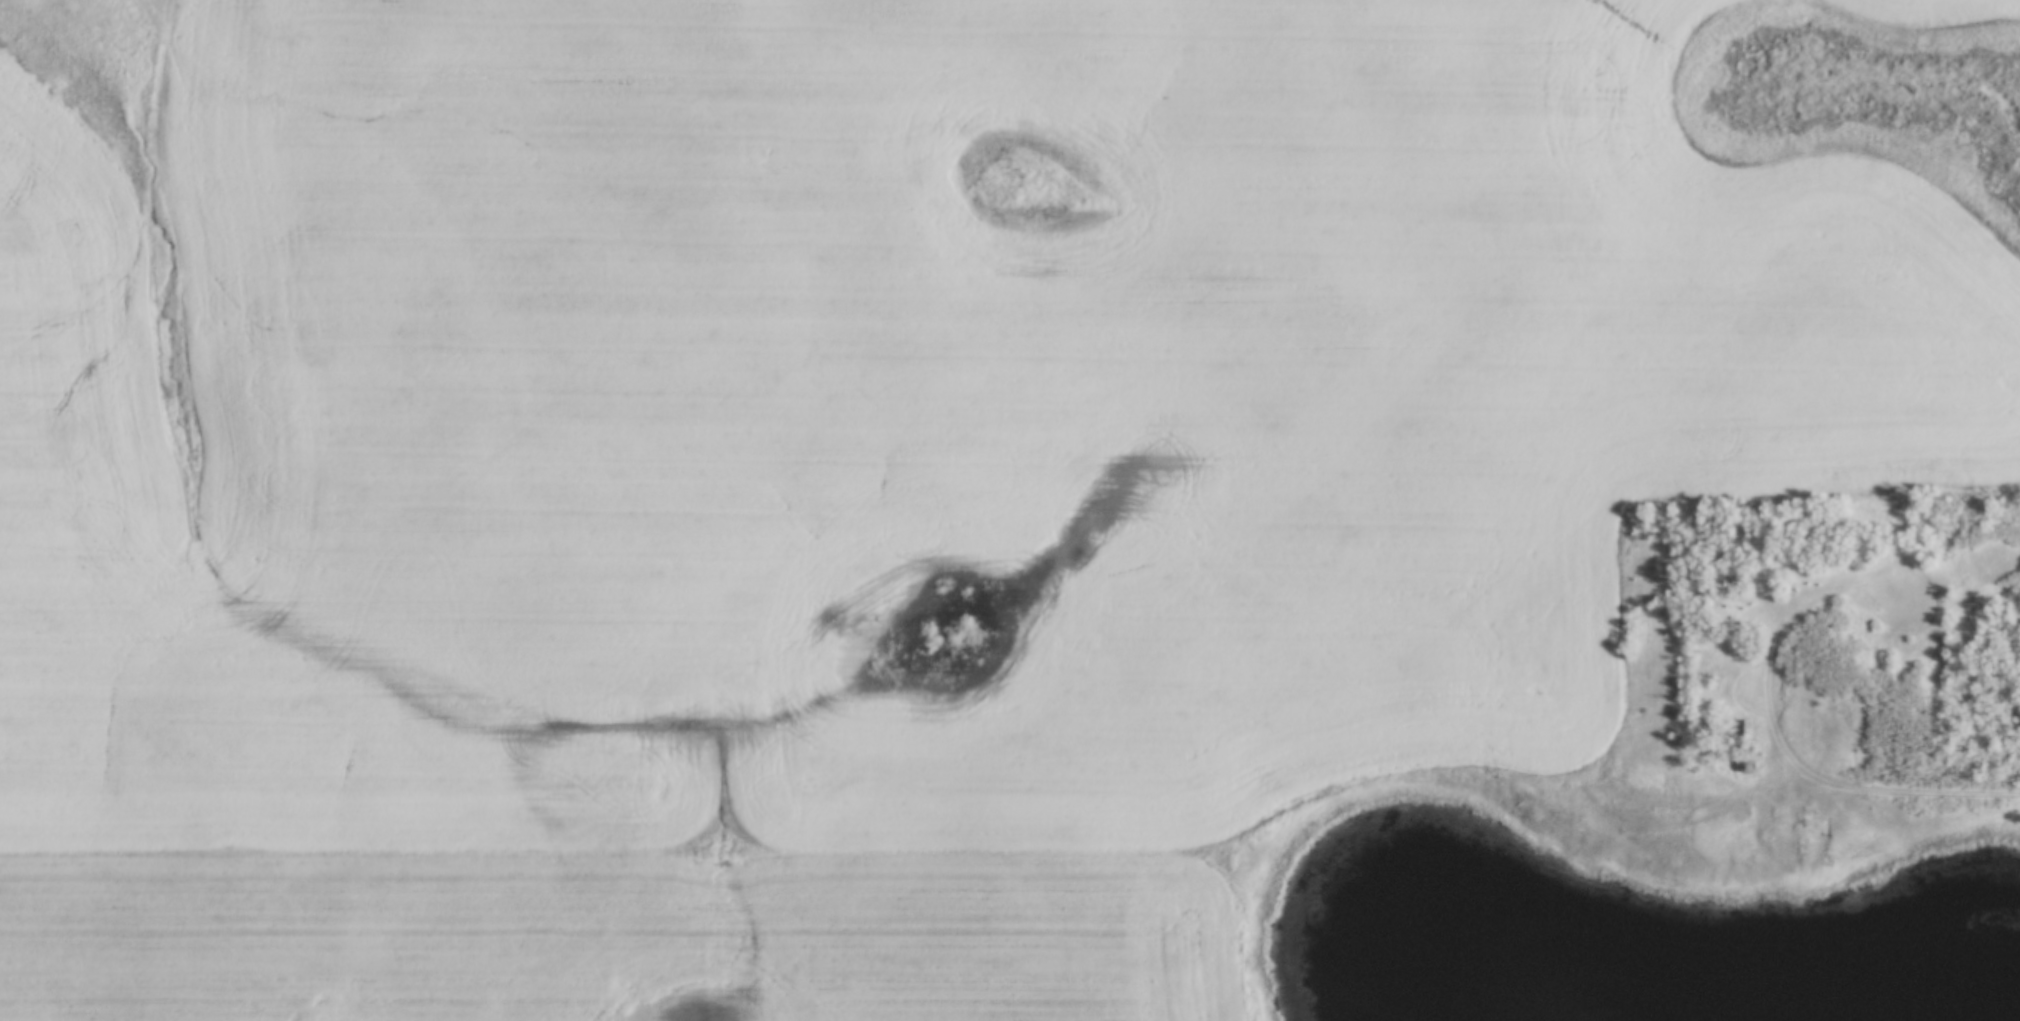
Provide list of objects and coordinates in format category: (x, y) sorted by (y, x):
road: (1885, 789)

